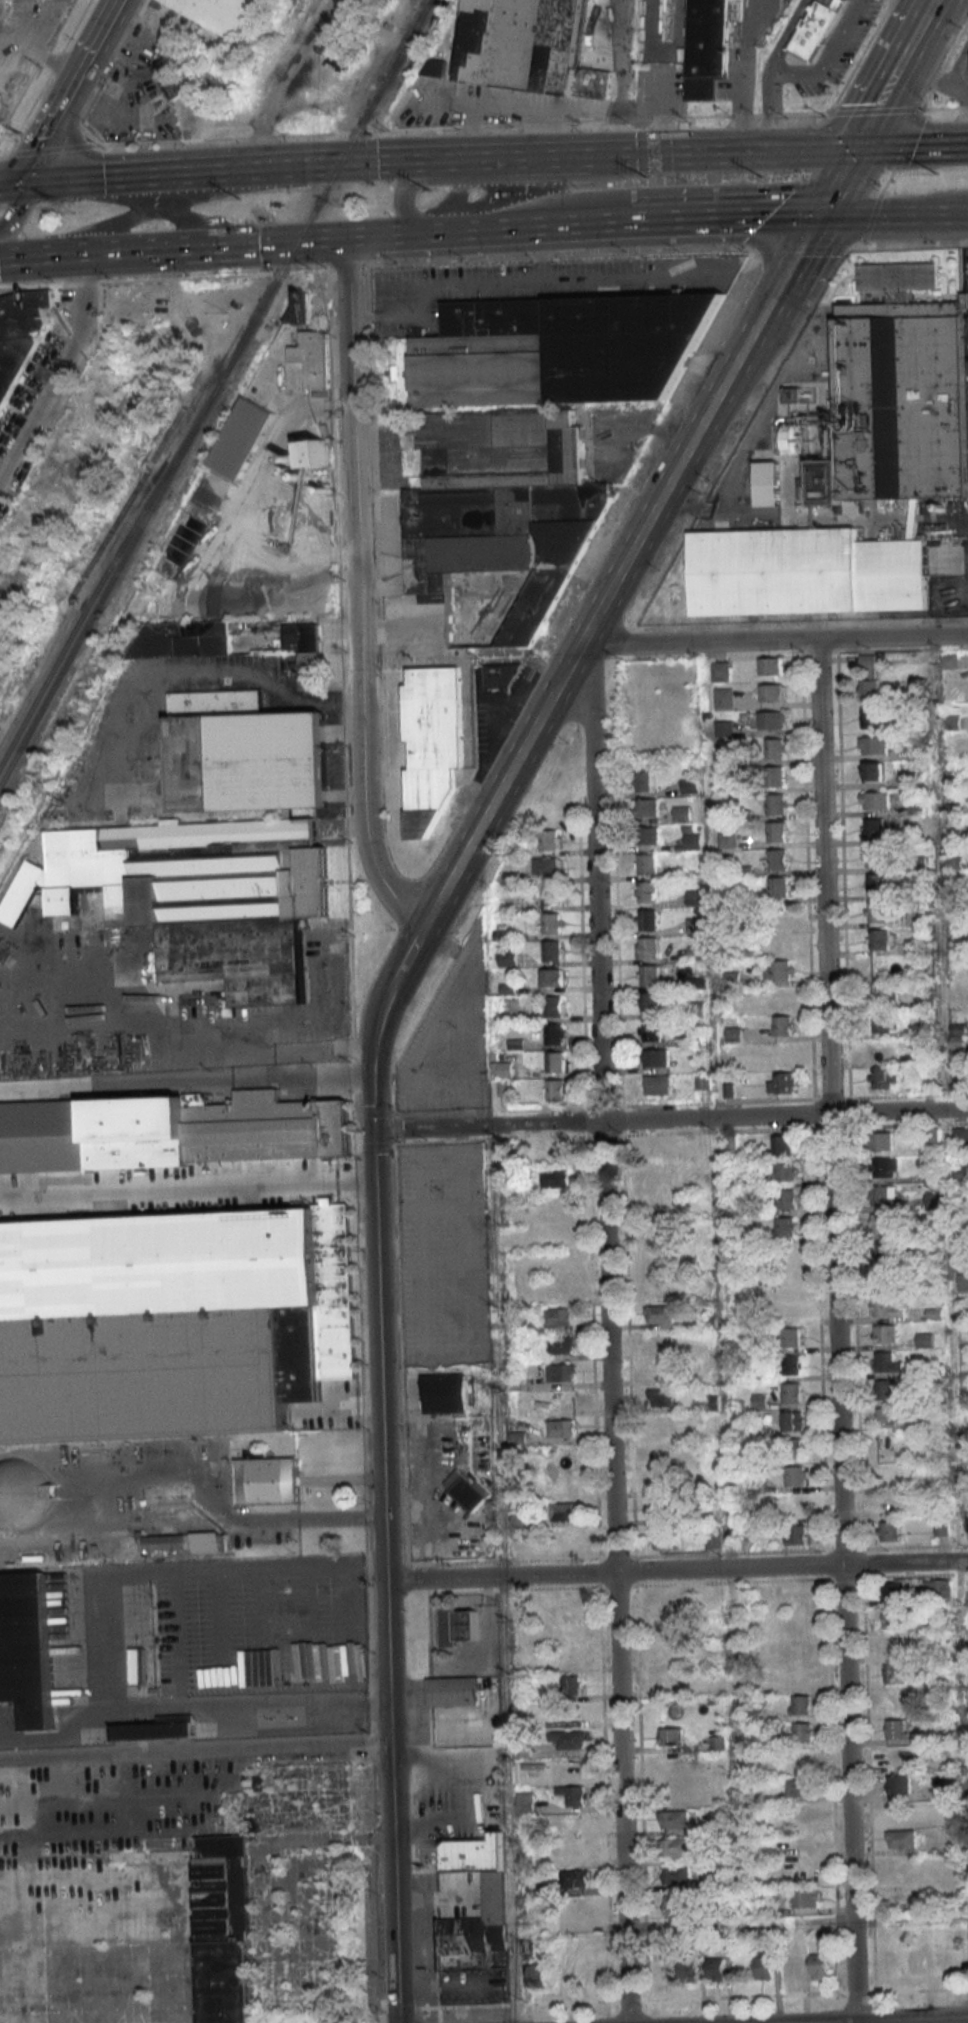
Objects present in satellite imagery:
road: (925, 3)
road: (949, 9)
building: (222, 13)
road: (751, 22)
building: (814, 29)
road: (42, 42)
building: (530, 47)
building: (707, 47)
road: (54, 64)
building: (436, 67)
road: (892, 74)
road: (799, 75)
road: (942, 75)
road: (617, 77)
building: (171, 78)
road: (961, 86)
road: (72, 90)
road: (743, 98)
road: (516, 105)
road: (658, 107)
road: (944, 108)
road: (874, 109)
road: (459, 128)
road: (546, 132)
power tower: (20, 135)
road: (910, 146)
road: (48, 149)
traffic signals: (852, 149)
road: (718, 152)
road: (4, 154)
road: (506, 158)
road: (301, 166)
power tower: (937, 174)
road: (102, 178)
road: (501, 178)
power tower: (642, 178)
power tower: (760, 178)
road: (834, 181)
traffic signals: (28, 183)
road: (14, 184)
power tower: (433, 192)
power tower: (241, 201)
road: (16, 208)
power tower: (67, 210)
traffic signals: (816, 214)
road: (892, 214)
road: (728, 216)
road: (598, 221)
road: (474, 228)
road: (371, 234)
road: (232, 241)
road: (58, 251)
road: (790, 258)
road: (483, 261)
road: (525, 281)
road: (403, 288)
building: (303, 306)
building: (19, 335)
building: (313, 356)
railway: (215, 394)
building: (894, 395)
road: (646, 427)
building: (242, 438)
building: (797, 439)
building: (525, 445)
building: (316, 453)
building: (766, 483)
building: (803, 572)
road: (360, 590)
railway: (94, 592)
road: (596, 614)
building: (304, 634)
building: (190, 639)
road: (773, 640)
building: (867, 660)
building: (948, 661)
building: (769, 666)
building: (311, 671)
building: (720, 671)
road: (255, 675)
building: (494, 676)
building: (869, 690)
building: (769, 693)
building: (724, 698)
building: (870, 717)
building: (770, 720)
building: (723, 728)
building: (431, 743)
building: (873, 745)
building: (773, 749)
building: (243, 753)
building: (874, 771)
building: (773, 776)
building: (643, 781)
building: (688, 786)
building: (874, 800)
building: (775, 804)
building: (645, 807)
building: (682, 813)
building: (874, 828)
building: (775, 832)
building: (647, 835)
building: (550, 840)
building: (727, 840)
building: (692, 841)
building: (873, 855)
building: (776, 859)
building: (646, 864)
building: (546, 868)
road: (595, 884)
building: (875, 884)
building: (777, 887)
building: (646, 892)
building: (196, 895)
building: (551, 896)
building: (695, 897)
building: (876, 912)
building: (780, 918)
building: (648, 919)
building: (552, 923)
building: (695, 925)
building: (881, 939)
building: (779, 942)
road: (413, 947)
building: (647, 947)
building: (552, 950)
building: (696, 952)
building: (507, 957)
building: (883, 967)
building: (779, 971)
building: (649, 975)
building: (732, 976)
building: (551, 977)
building: (883, 995)
road: (459, 996)
building: (650, 1002)
road: (382, 1003)
building: (554, 1006)
building: (883, 1023)
building: (783, 1025)
road: (191, 1030)
building: (650, 1030)
building: (554, 1034)
building: (733, 1034)
parking lot: (450, 1040)
building: (883, 1050)
building: (655, 1057)
building: (555, 1062)
building: (502, 1069)
building: (883, 1078)
building: (781, 1082)
road: (185, 1083)
building: (658, 1084)
building: (555, 1089)
road: (719, 1104)
road: (670, 1119)
traffic signals: (373, 1130)
building: (170, 1131)
building: (960, 1135)
building: (882, 1141)
building: (783, 1144)
building: (656, 1148)
building: (703, 1150)
building: (885, 1167)
building: (786, 1171)
building: (655, 1175)
road: (466, 1179)
building: (555, 1179)
road: (422, 1181)
road: (187, 1186)
building: (883, 1195)
building: (787, 1198)
building: (656, 1203)
building: (556, 1206)
road: (421, 1210)
building: (880, 1223)
building: (787, 1226)
building: (655, 1231)
building: (887, 1251)
building: (788, 1254)
parking lot: (443, 1255)
building: (655, 1259)
building: (558, 1262)
building: (881, 1279)
building: (789, 1282)
building: (963, 1282)
road: (469, 1283)
road: (426, 1284)
building: (657, 1287)
building: (559, 1289)
building: (886, 1307)
building: (790, 1310)
building: (660, 1313)
building: (559, 1317)
building: (171, 1320)
road: (836, 1331)
building: (886, 1334)
building: (791, 1336)
building: (924, 1340)
building: (660, 1341)
building: (560, 1345)
building: (886, 1363)
building: (791, 1365)
building: (659, 1369)
building: (561, 1372)
building: (886, 1389)
building: (793, 1392)
building: (446, 1395)
building: (662, 1397)
building: (562, 1400)
building: (887, 1417)
building: (793, 1421)
building: (662, 1425)
building: (562, 1428)
building: (517, 1438)
building: (890, 1445)
building: (794, 1449)
building: (562, 1455)
building: (891, 1473)
building: (796, 1475)
building: (663, 1480)
building: (267, 1481)
building: (565, 1483)
building: (464, 1490)
building: (20, 1493)
building: (892, 1501)
building: (796, 1504)
building: (666, 1509)
building: (564, 1512)
building: (518, 1520)
building: (941, 1528)
building: (890, 1531)
road: (383, 1532)
building: (797, 1534)
building: (713, 1539)
building: (666, 1540)
building: (182, 1542)
building: (566, 1543)
road: (676, 1570)
road: (615, 1572)
road: (502, 1574)
building: (936, 1588)
building: (893, 1590)
building: (665, 1601)
building: (569, 1605)
building: (893, 1618)
building: (797, 1622)
building: (465, 1625)
building: (665, 1626)
building: (568, 1631)
building: (895, 1646)
building: (27, 1649)
building: (664, 1654)
building: (569, 1657)
building: (522, 1666)
building: (895, 1673)
building: (800, 1676)
building: (669, 1681)
building: (571, 1685)
building: (453, 1691)
building: (896, 1701)
building: (800, 1704)
road: (188, 1709)
building: (896, 1728)
building: (158, 1729)
building: (803, 1732)
building: (671, 1736)
building: (568, 1739)
road: (194, 1746)
building: (896, 1756)
building: (801, 1760)
building: (671, 1764)
building: (572, 1767)
building: (898, 1784)
road: (480, 1785)
building: (800, 1787)
building: (676, 1791)
building: (572, 1795)
building: (797, 1815)
building: (674, 1819)
building: (571, 1822)
building: (901, 1838)
building: (804, 1843)
building: (675, 1847)
building: (902, 1866)
building: (804, 1870)
building: (675, 1875)
building: (575, 1878)
building: (494, 1894)
building: (806, 1898)
building: (673, 1906)
building: (577, 1909)
road: (740, 1925)
building: (126, 1934)
building: (944, 1961)
building: (916, 1962)
building: (764, 1967)
building: (792, 1967)
building: (820, 1967)
building: (663, 1970)
building: (688, 1970)
building: (716, 1970)
building: (536, 1975)
building: (562, 1975)
road: (873, 2000)
road: (897, 2020)

